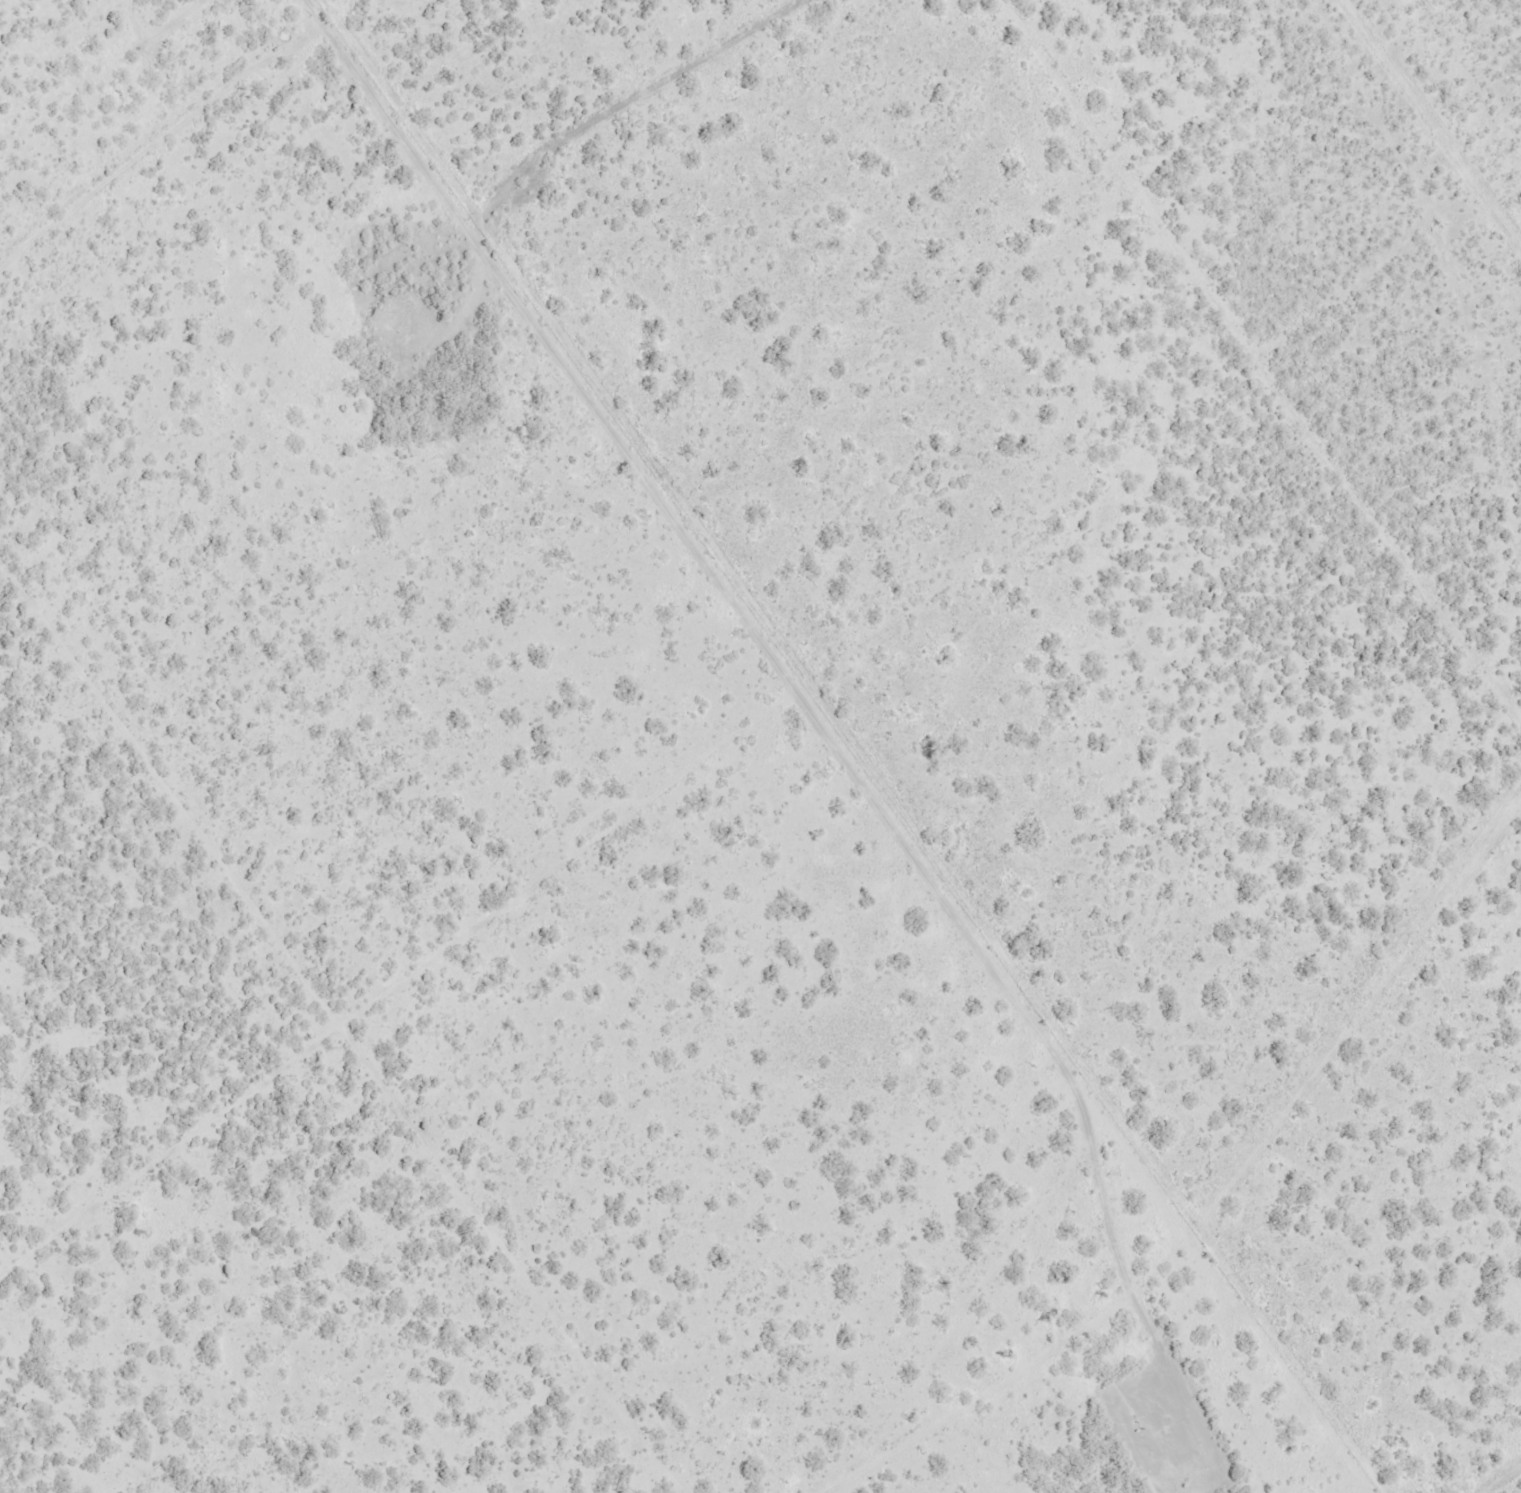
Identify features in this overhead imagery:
road: (1519, 1492)

